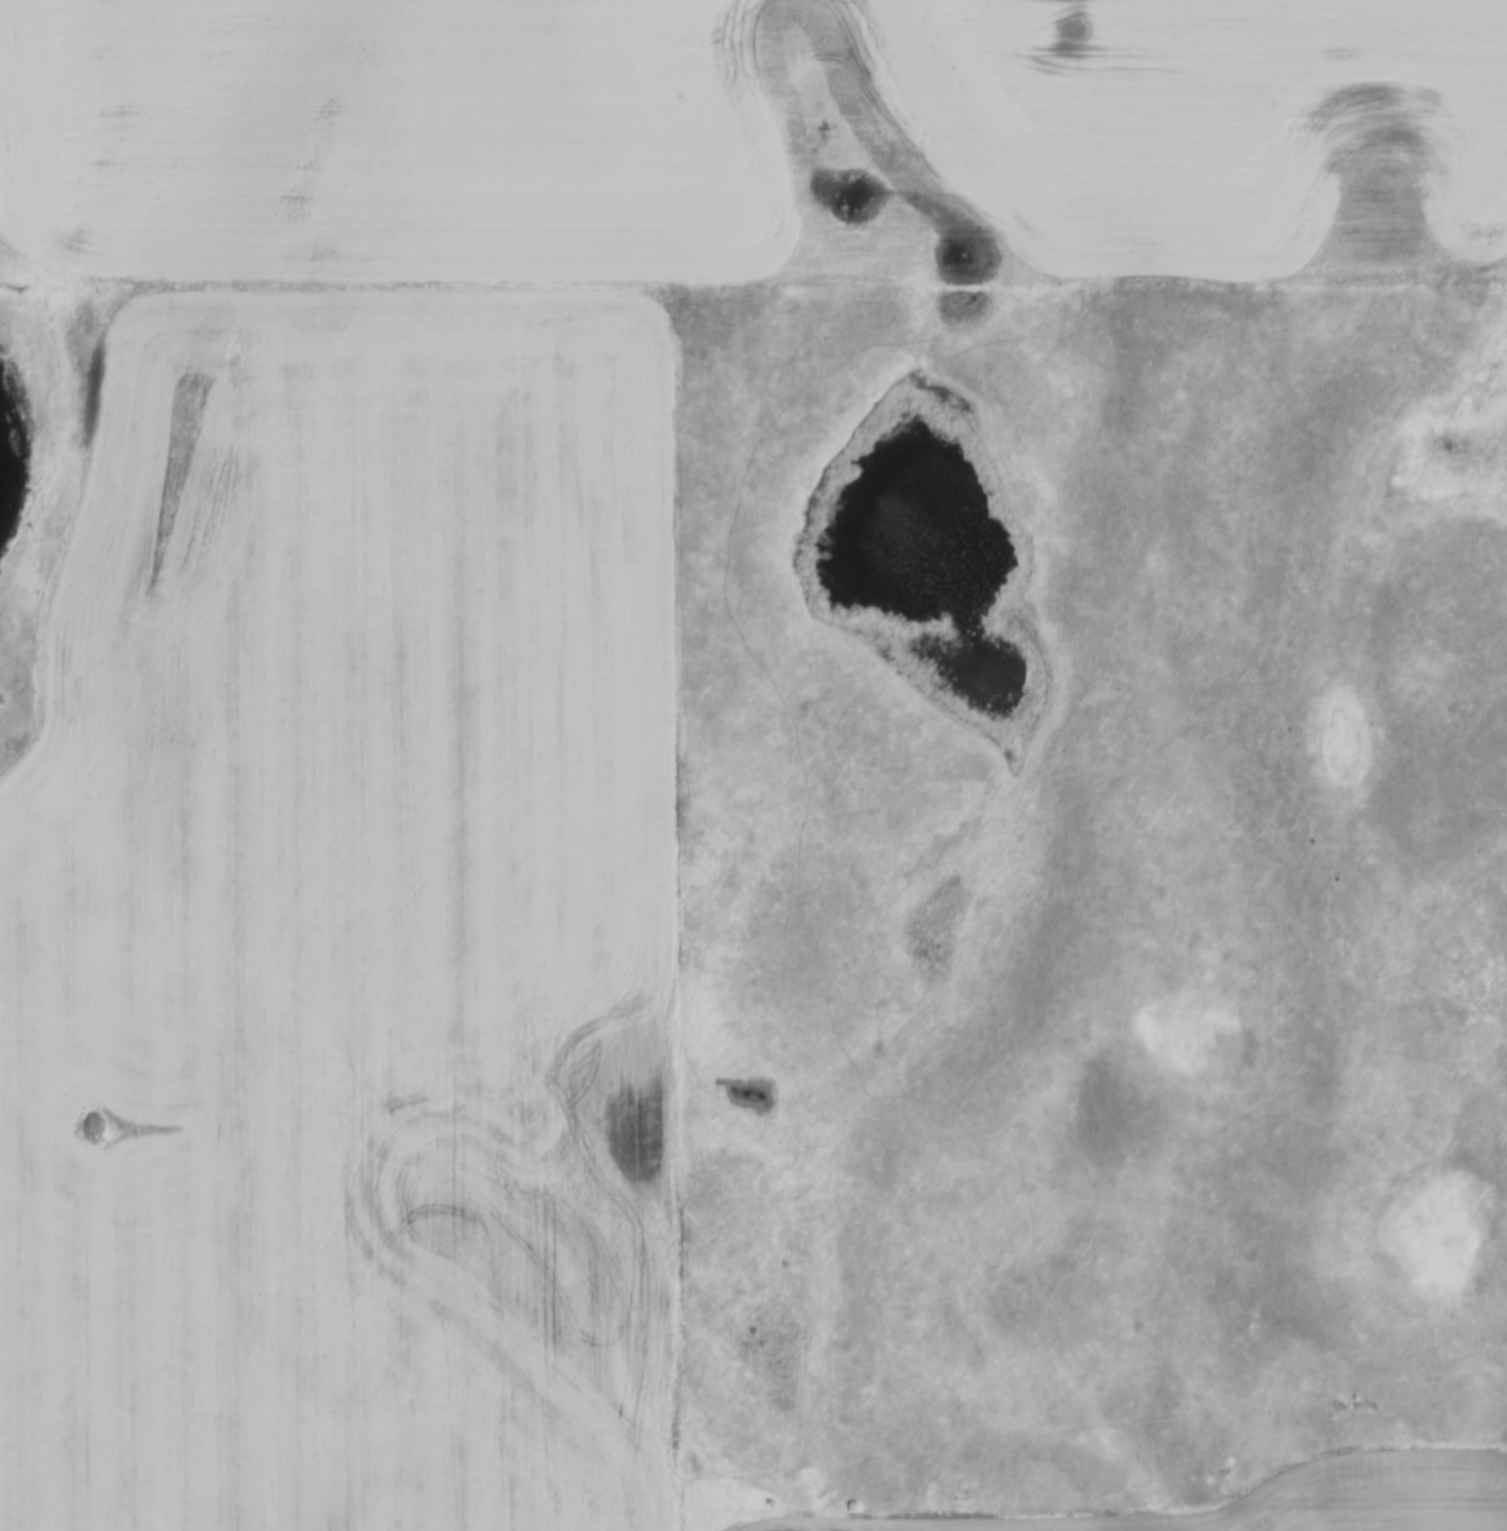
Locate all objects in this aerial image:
road: (1364, 665)

